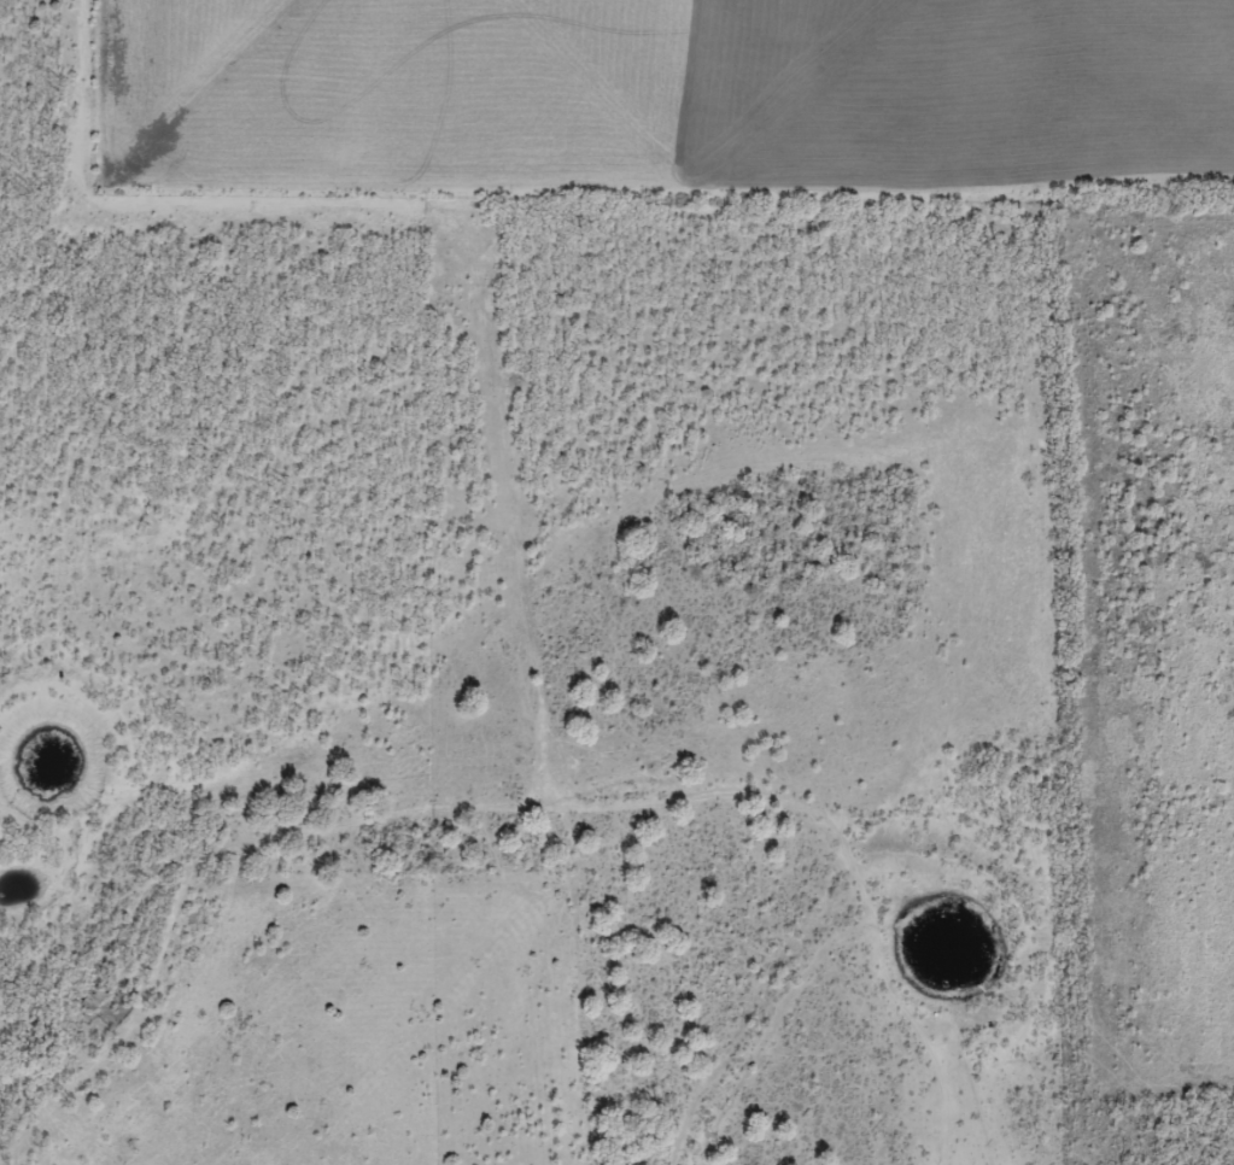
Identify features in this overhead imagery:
road: (385, 880)
road: (861, 914)
building: (94, 996)

